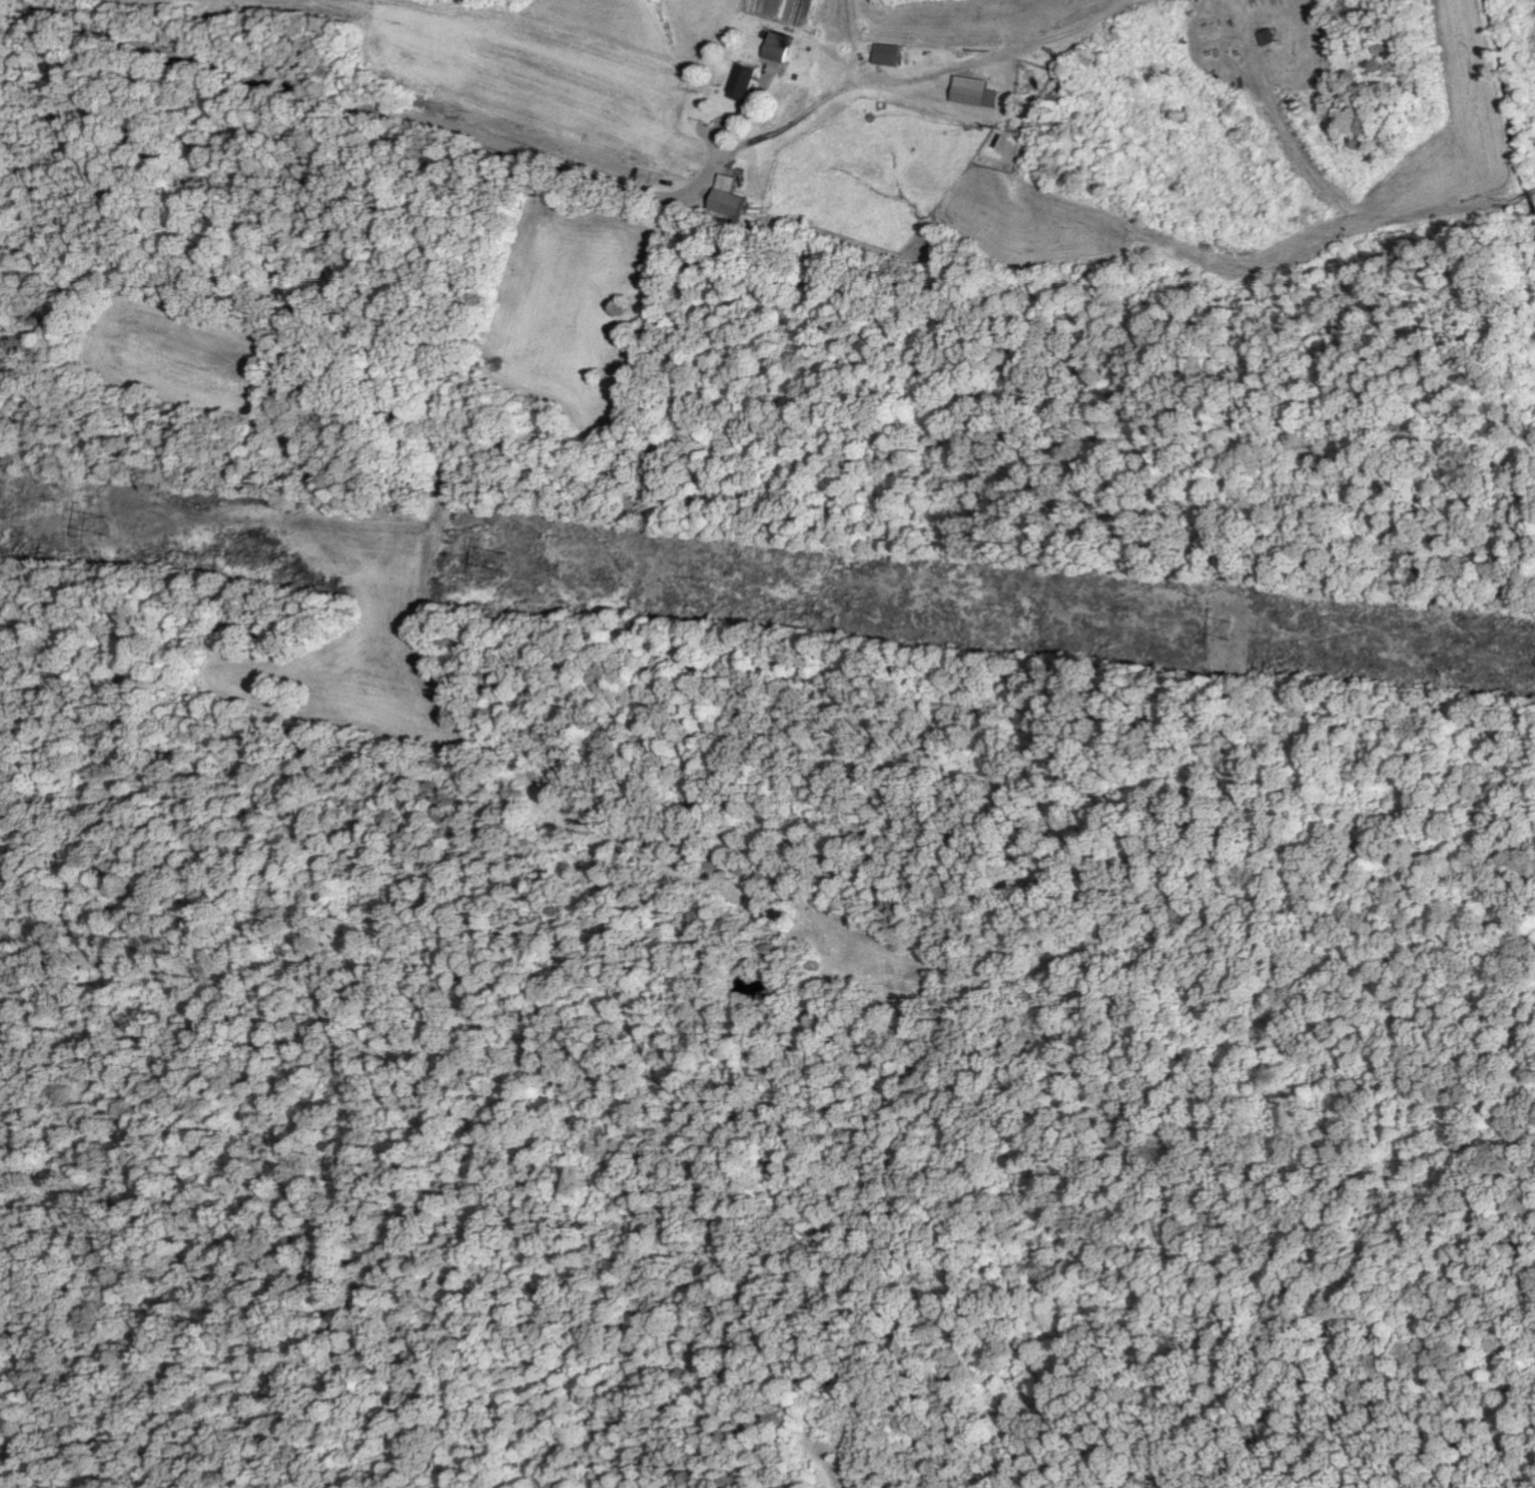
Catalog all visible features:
building: (783, 47)
building: (895, 53)
road: (250, 78)
building: (749, 80)
building: (981, 92)
road: (586, 167)
building: (737, 199)
power tower: (99, 524)
power tower: (501, 560)
power tower: (1229, 629)

